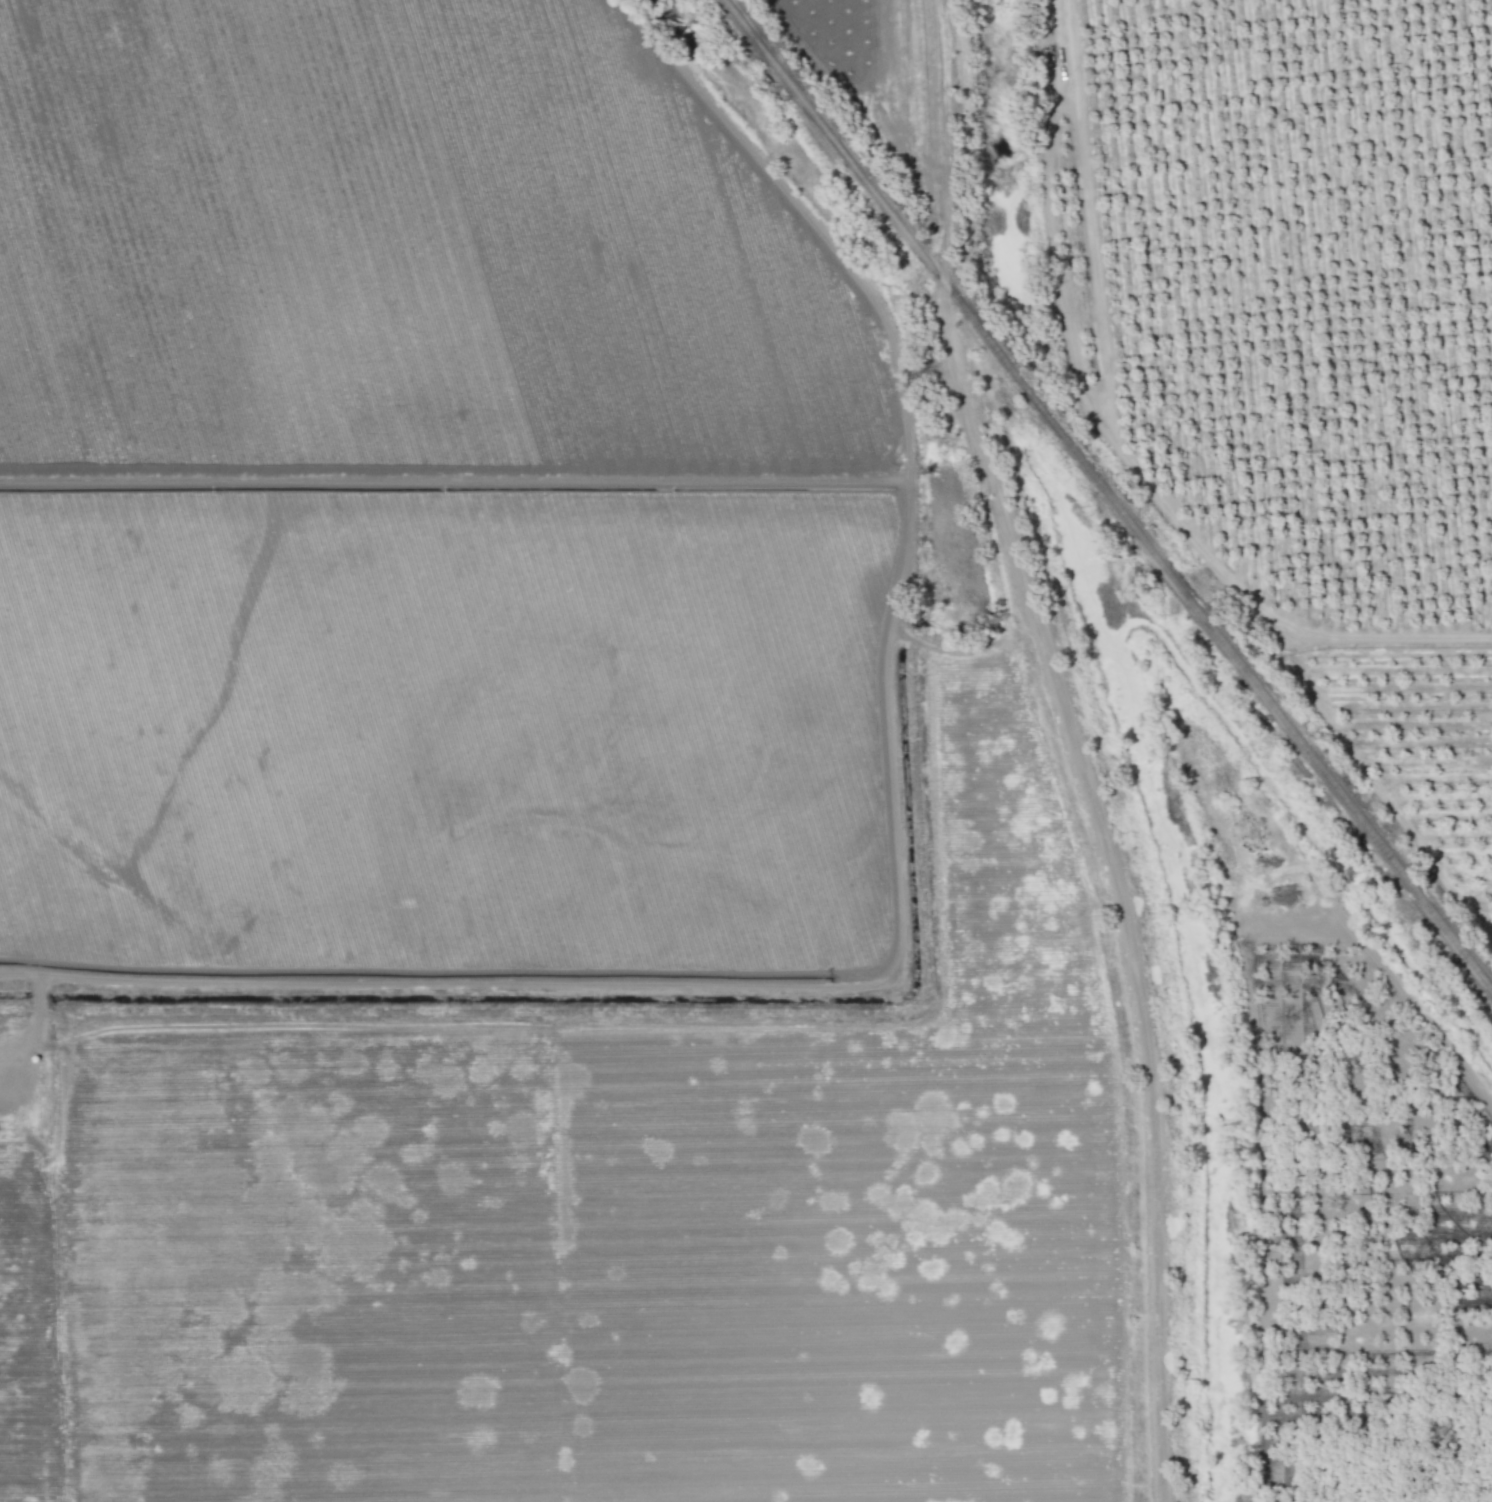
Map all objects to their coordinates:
railway: (1109, 492)
crop: (1310, 653)
crop: (524, 779)
road: (1122, 904)

